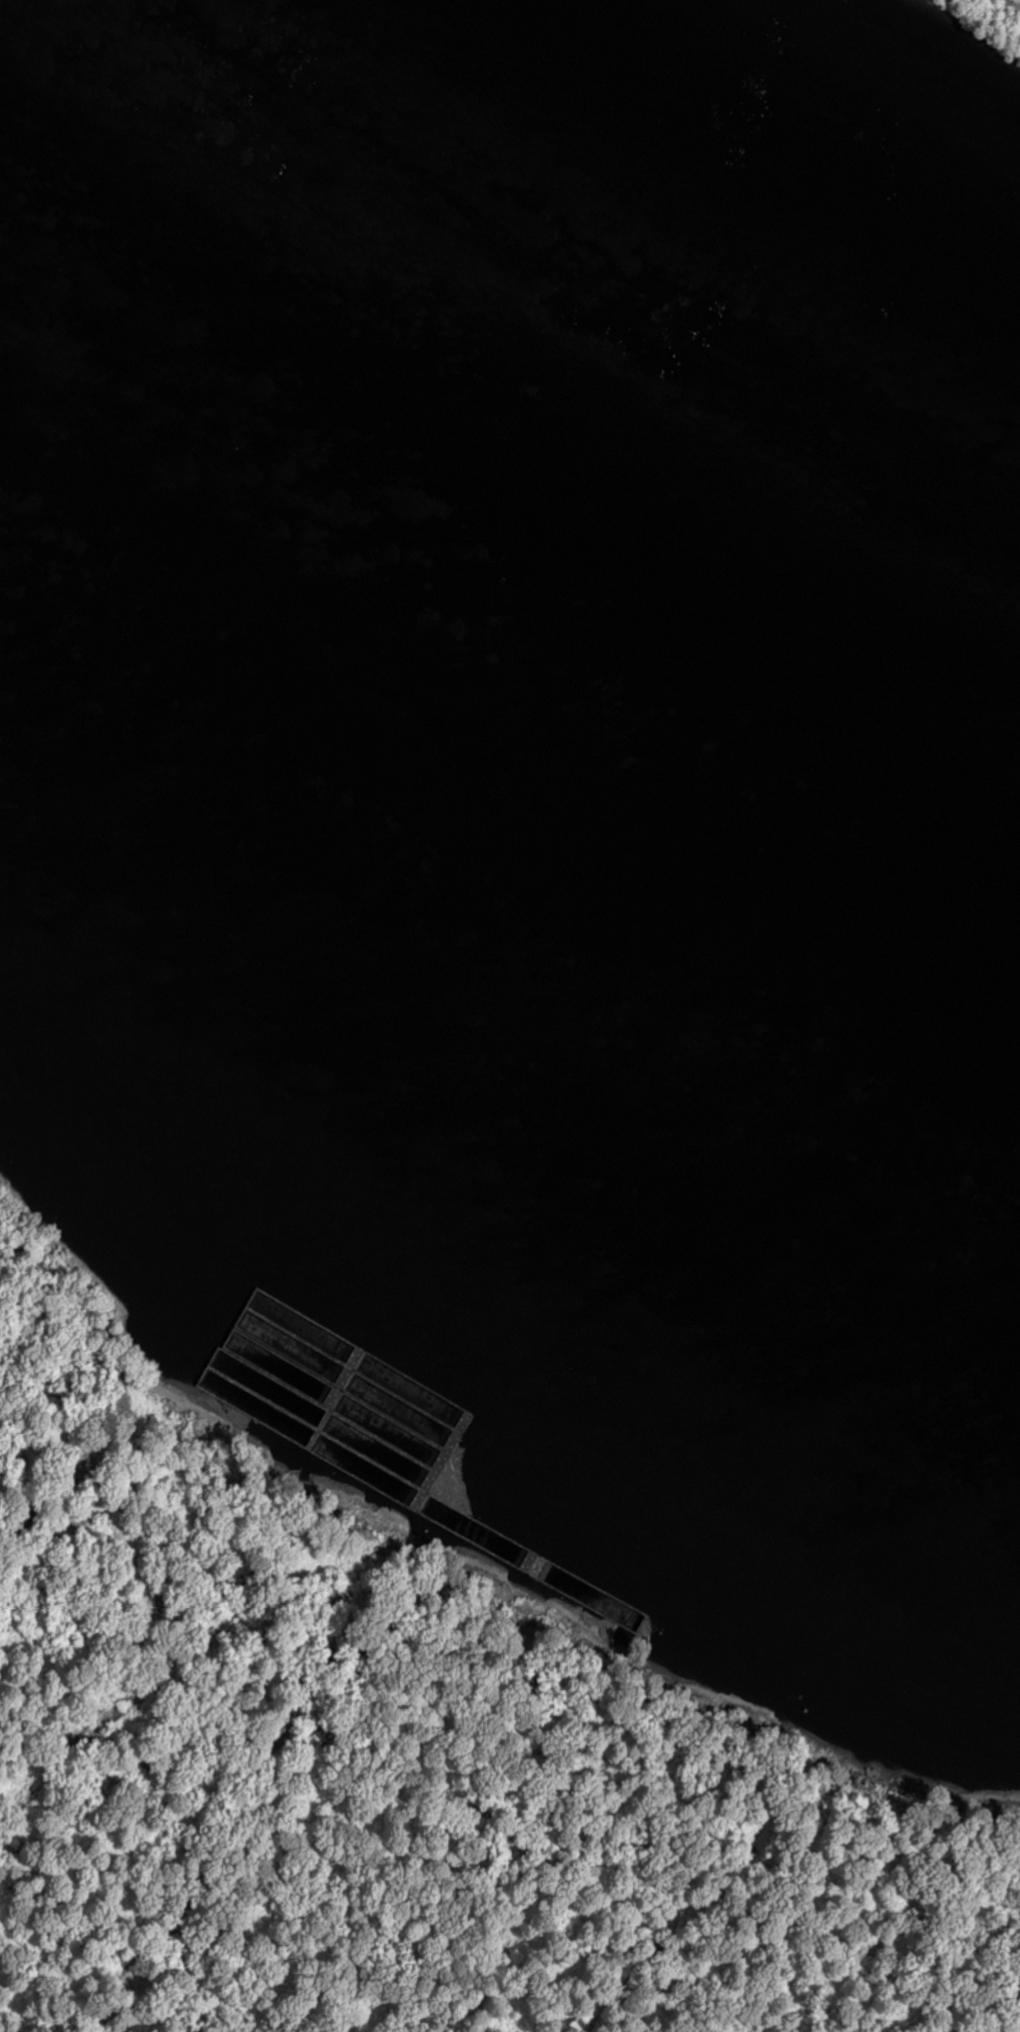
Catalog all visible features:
river: (487, 651)

